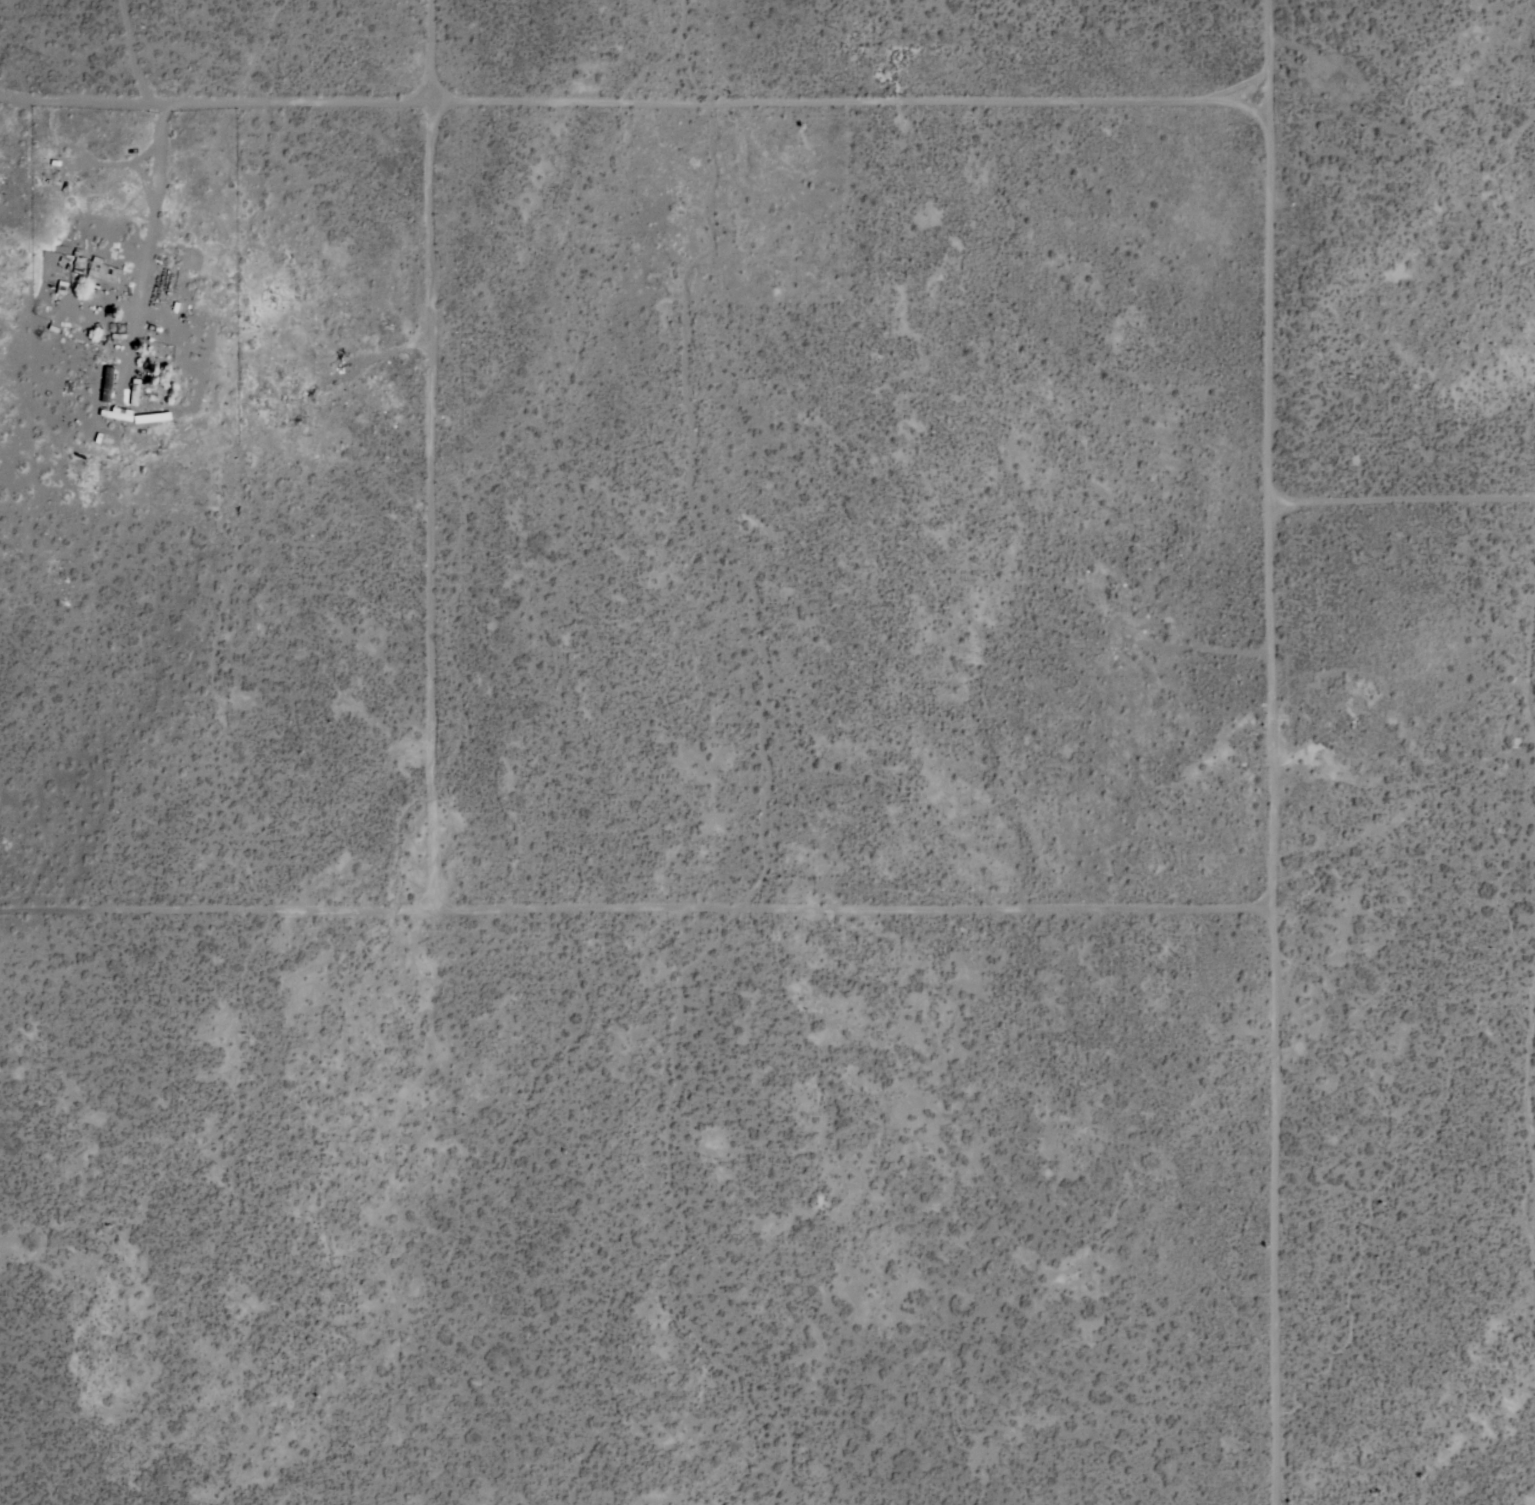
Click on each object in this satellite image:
road: (183, 106)
road: (431, 456)
road: (1406, 499)
road: (1269, 752)
road: (632, 913)

